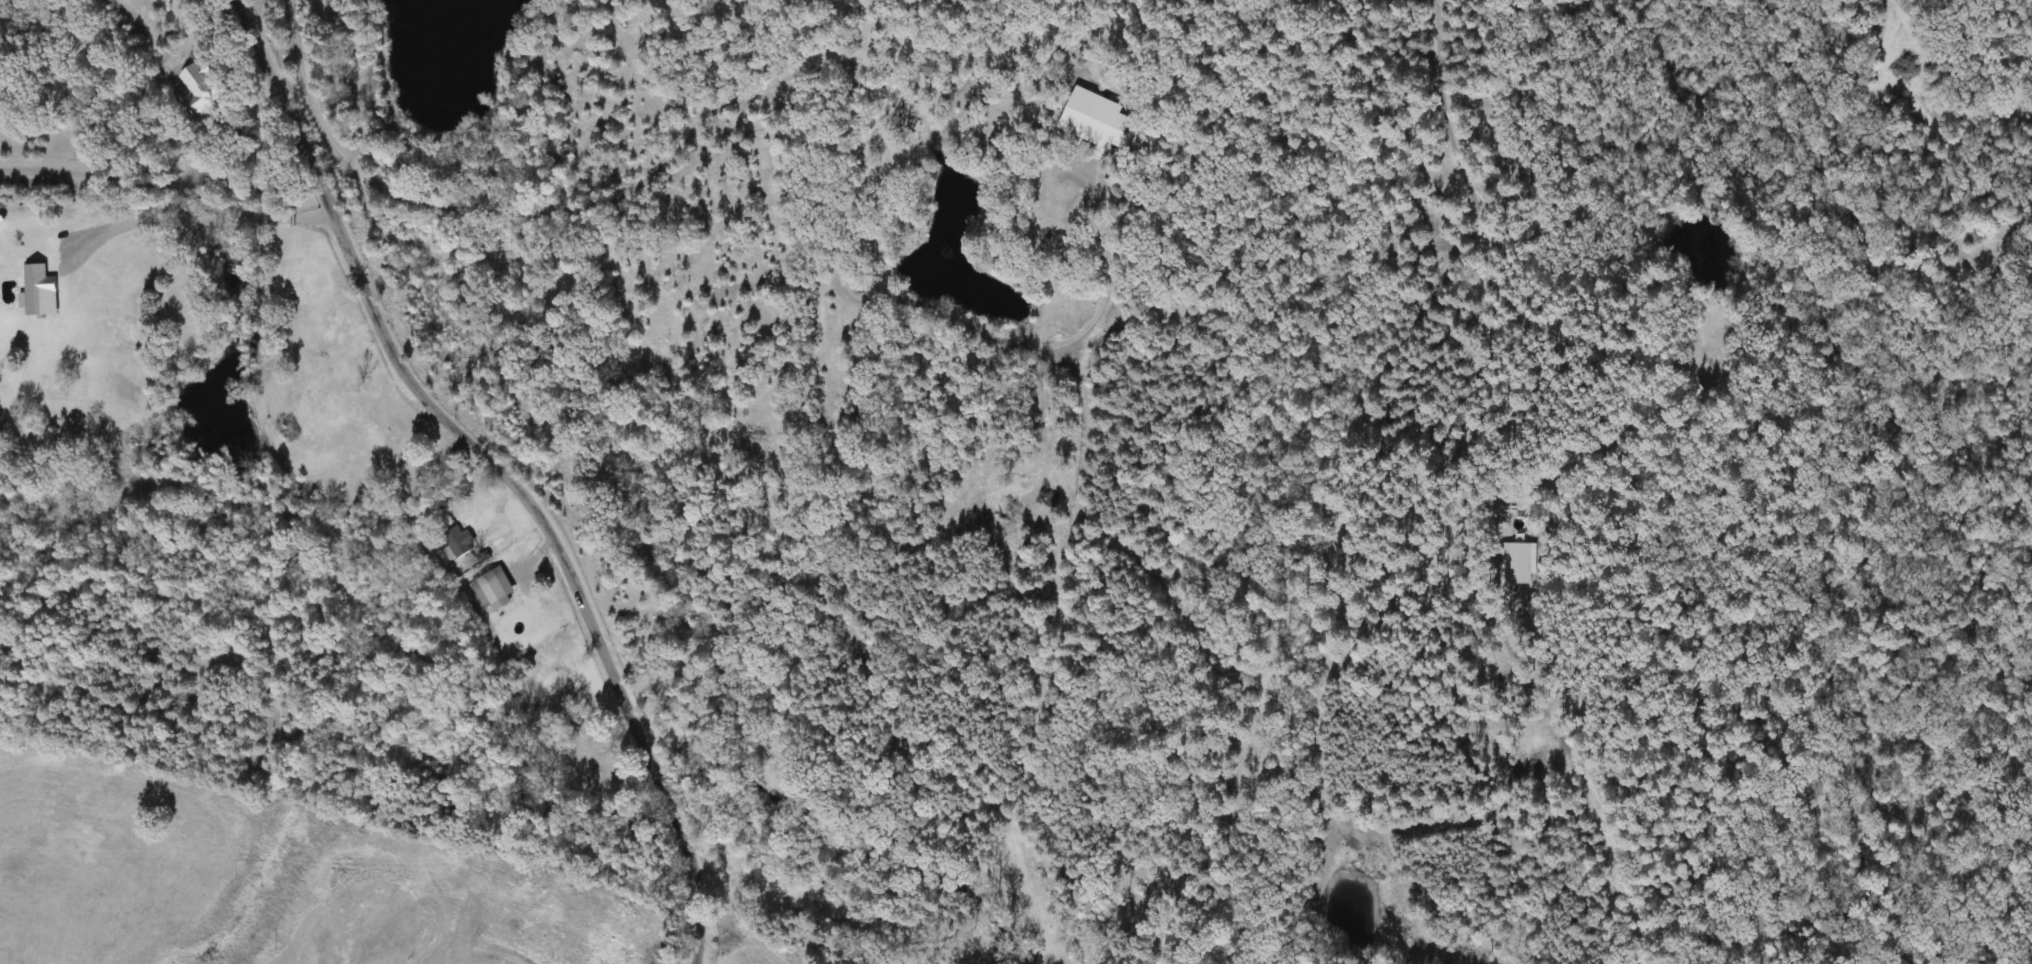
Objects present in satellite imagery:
road: (114, 15)
building: (927, 70)
road: (156, 177)
road: (533, 215)
road: (194, 216)
building: (39, 293)
building: (332, 331)
road: (497, 469)
building: (458, 541)
building: (1519, 564)
building: (492, 590)

